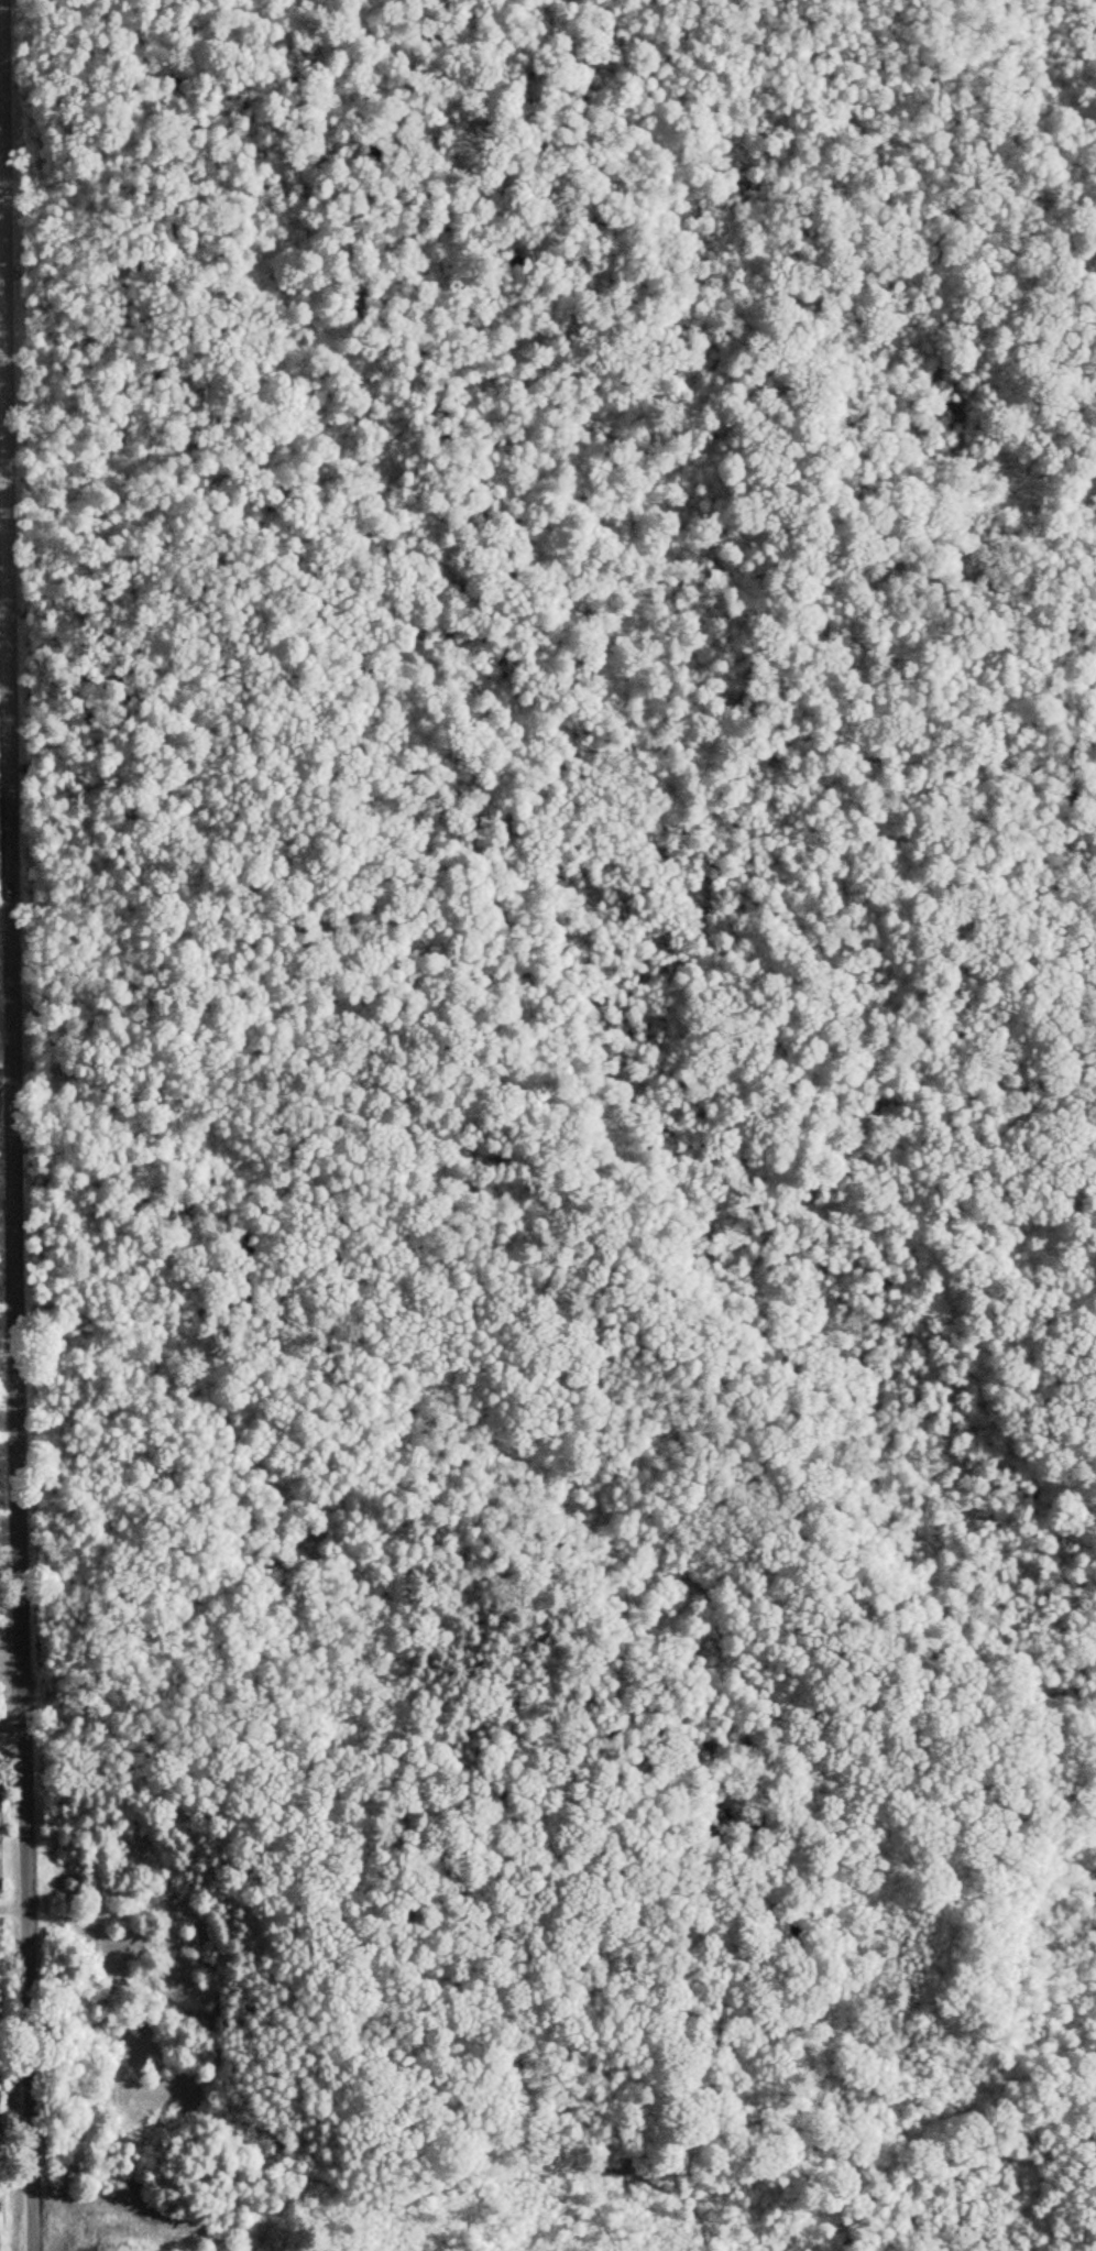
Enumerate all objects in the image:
road: (13, 1125)
road: (9, 1569)
road: (13, 2120)

